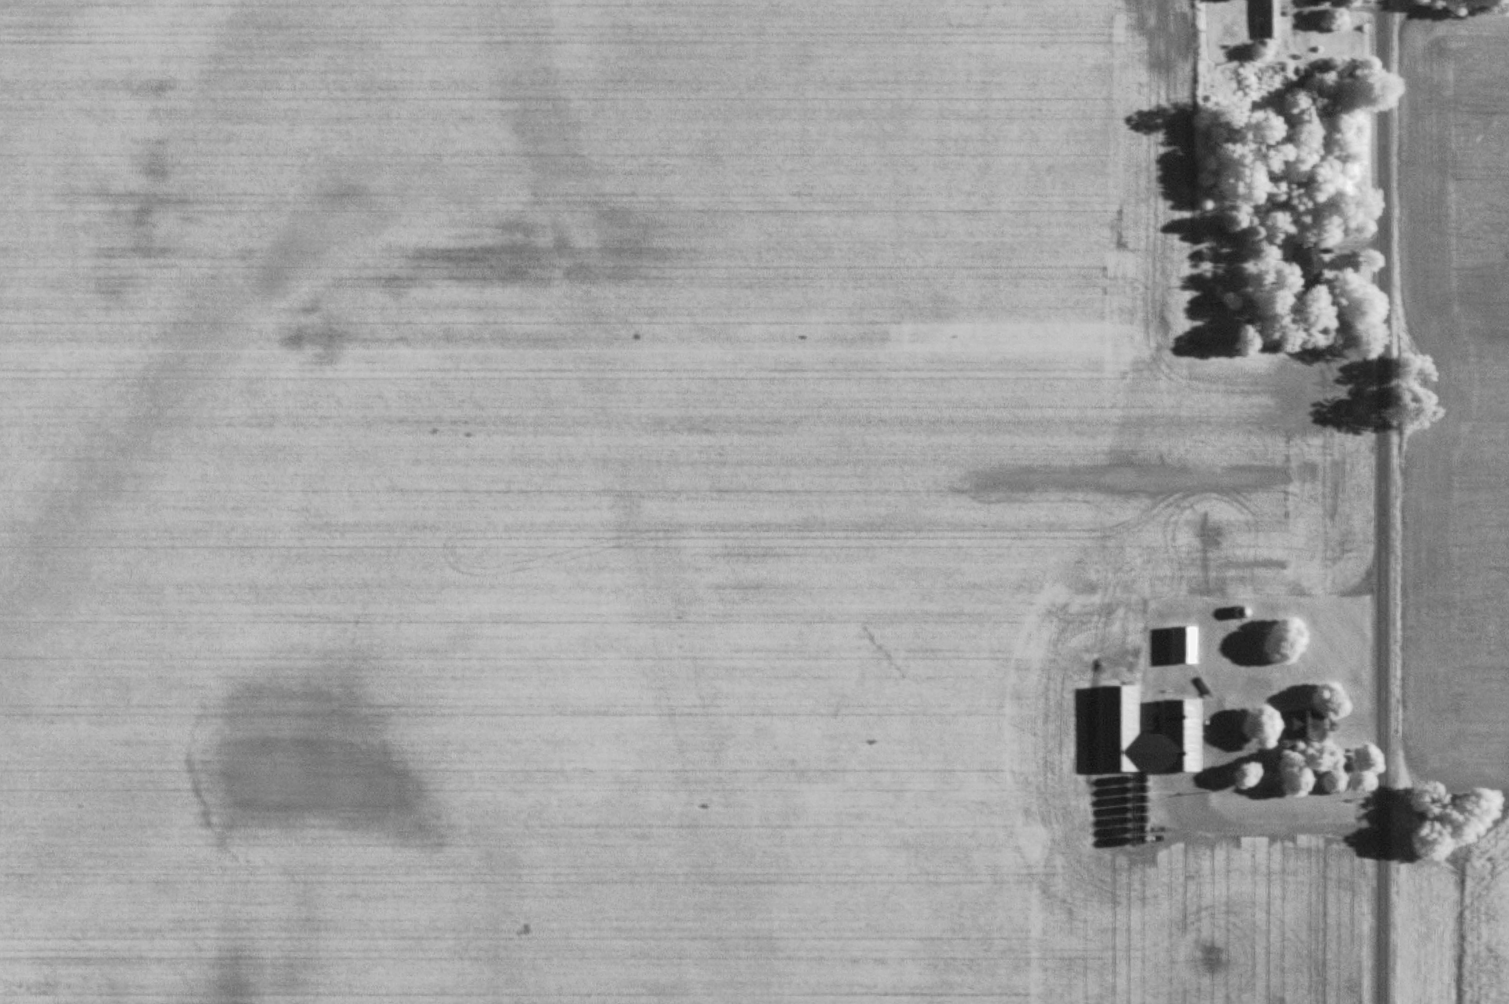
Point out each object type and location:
building: (1323, 1)
building: (1270, 19)
building: (1310, 266)
road: (1381, 502)
building: (1184, 644)
building: (1307, 724)
building: (1181, 735)
road: (1179, 797)

